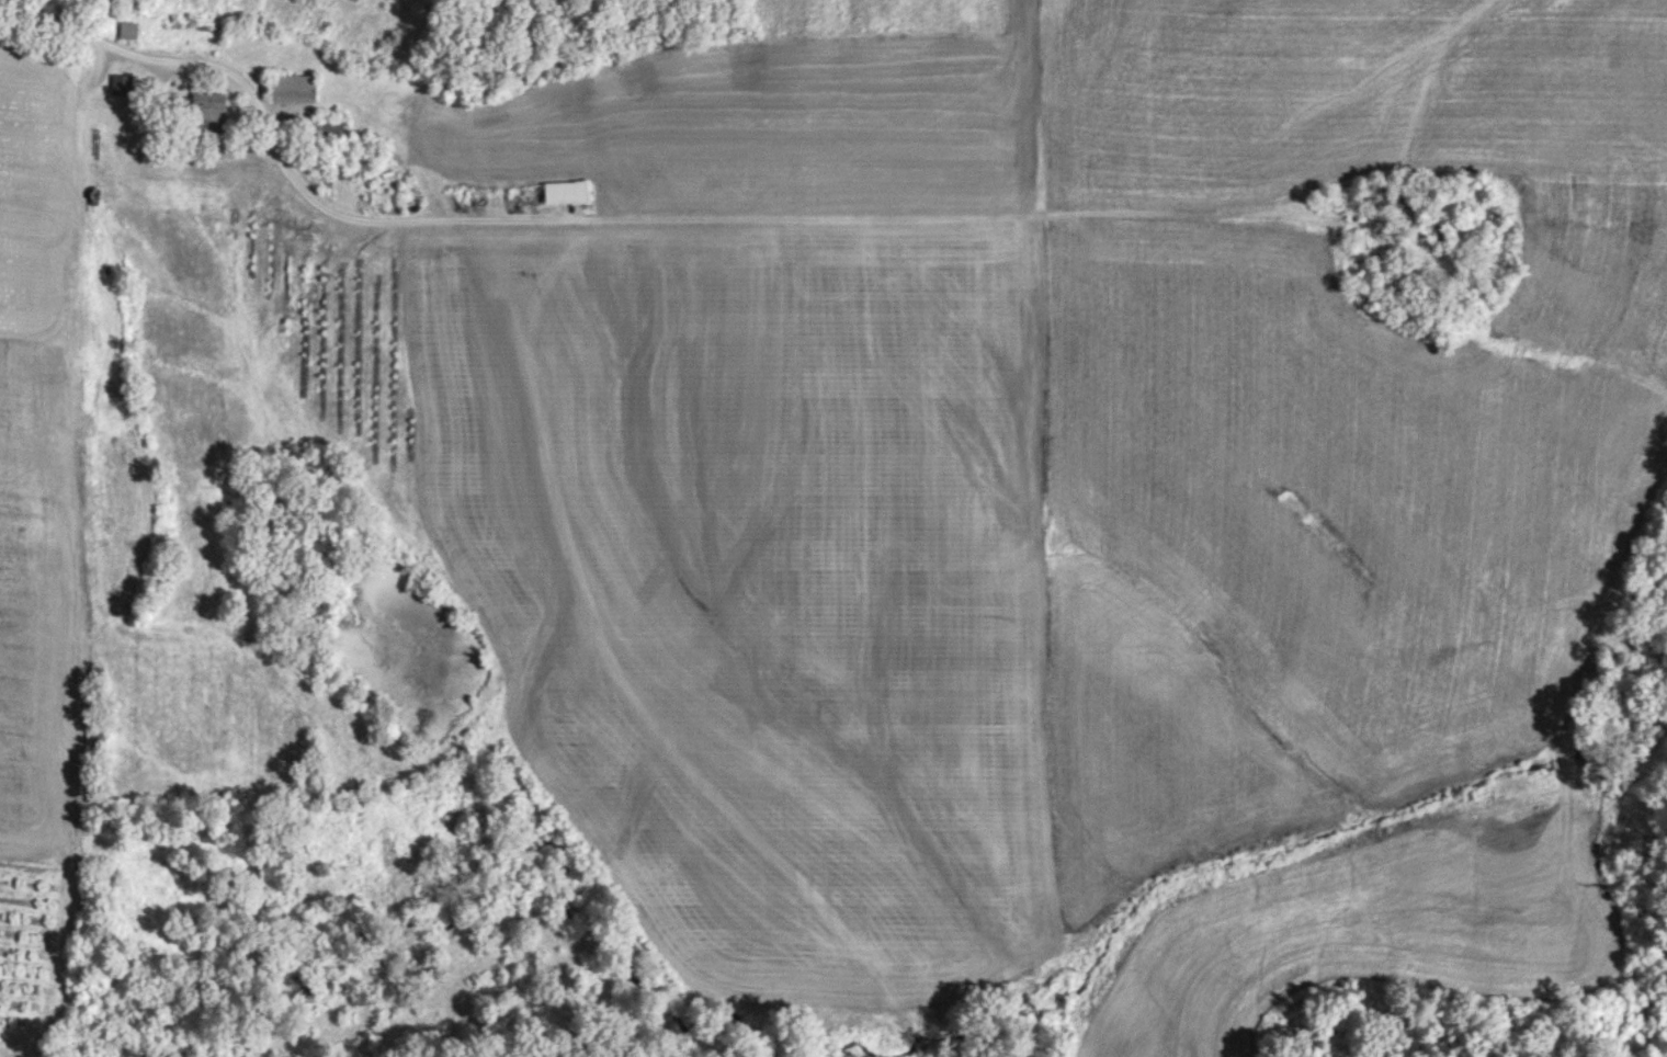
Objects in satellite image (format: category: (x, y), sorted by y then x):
building: (129, 30)
building: (123, 84)
building: (294, 87)
building: (209, 111)
building: (327, 128)
building: (567, 191)
building: (1387, 197)
road: (616, 219)
building: (1437, 231)
crop: (1336, 414)
building: (308, 773)
crop: (30, 948)

